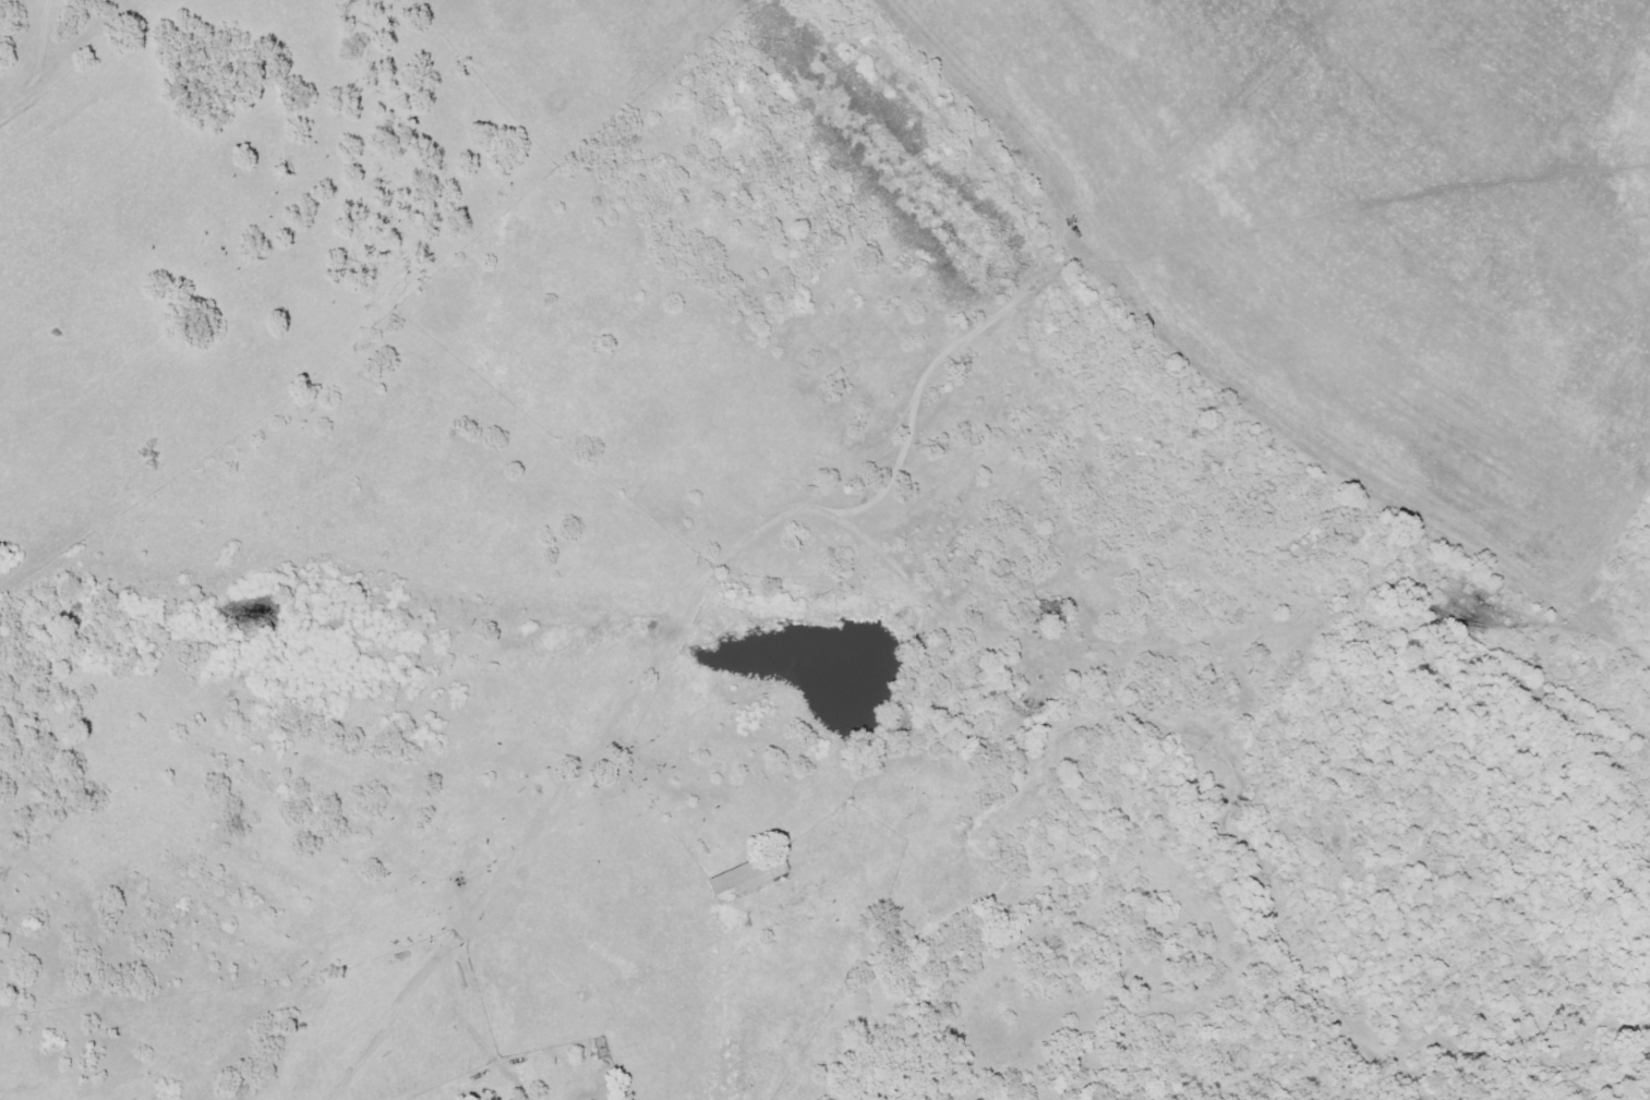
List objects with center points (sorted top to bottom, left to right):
road: (97, 83)
road: (980, 478)
road: (791, 516)
building: (746, 874)

